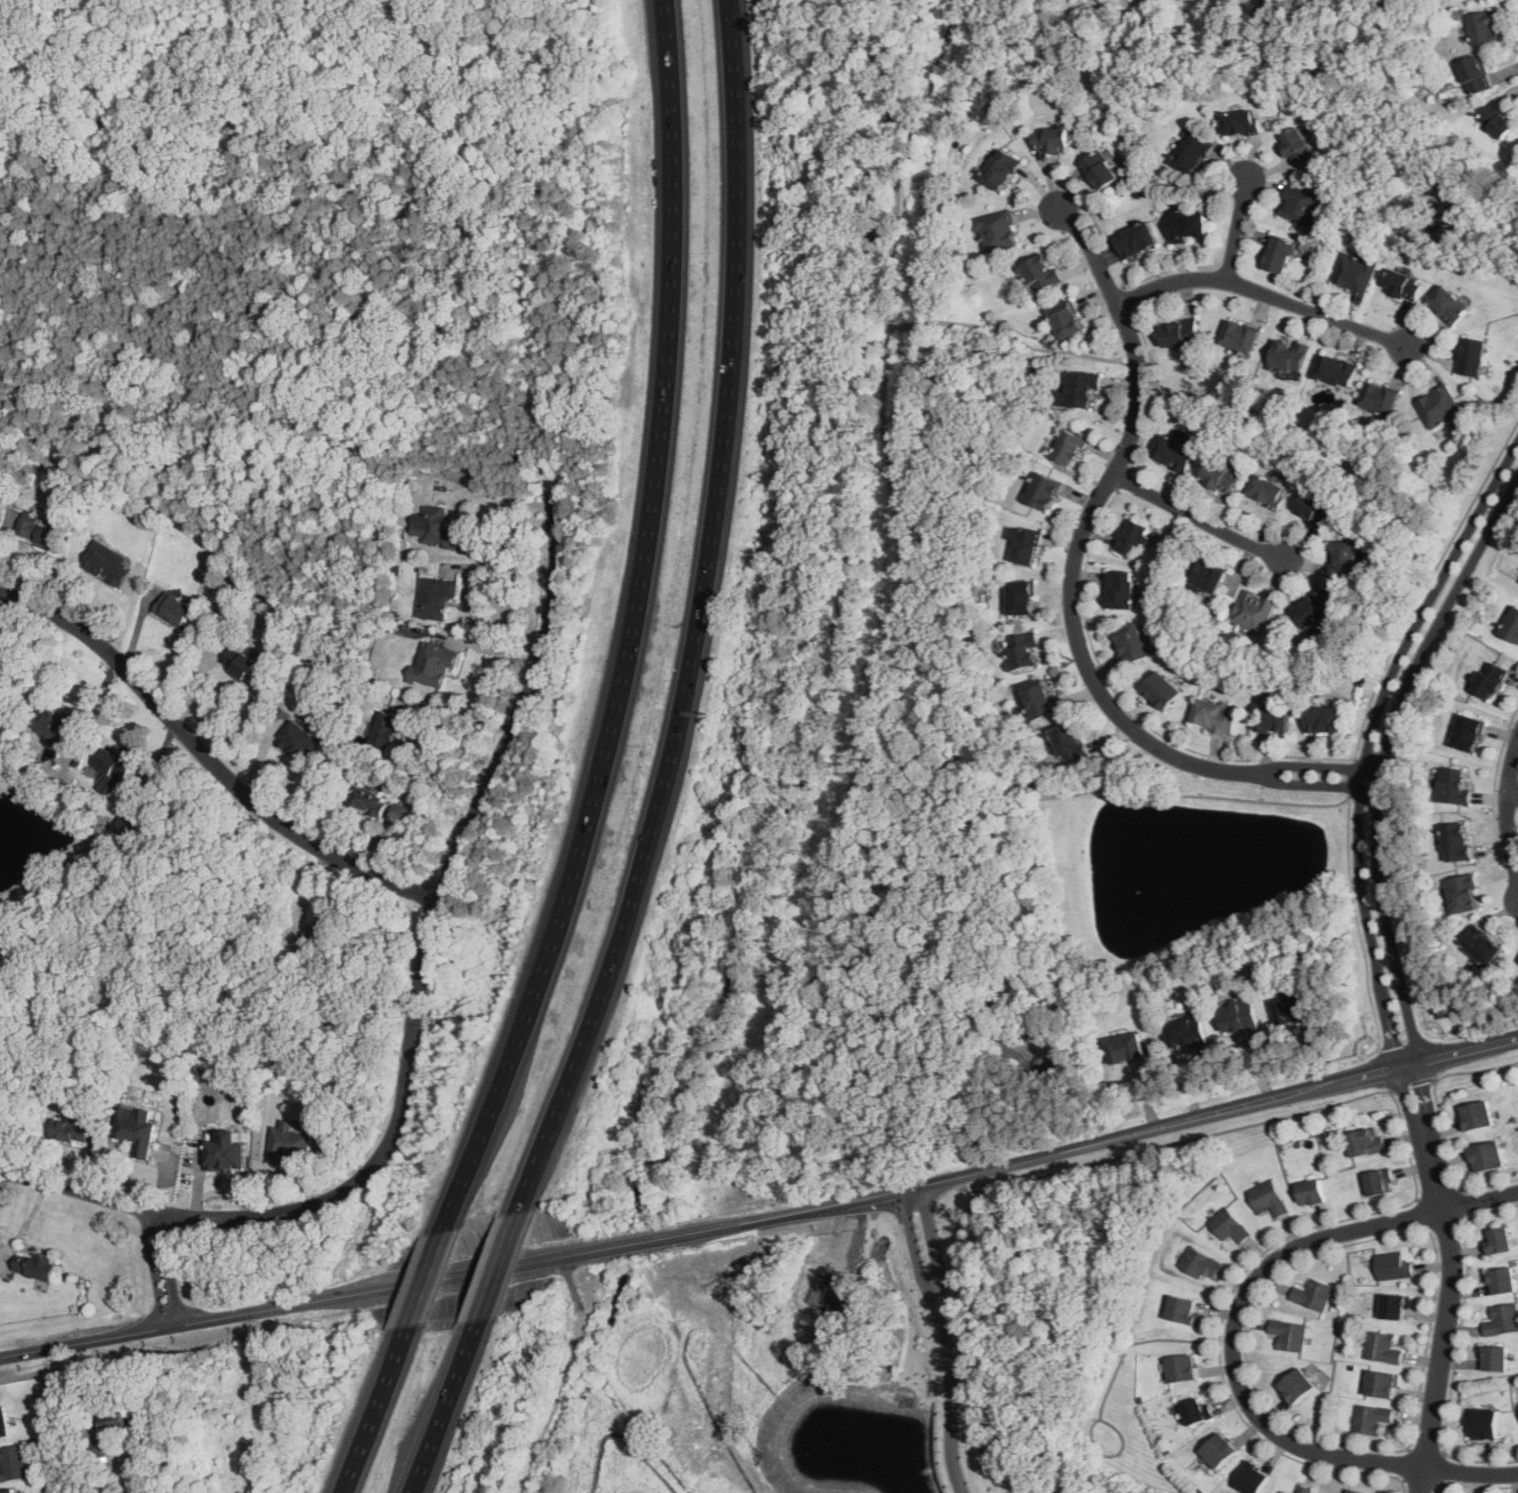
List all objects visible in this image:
building: (1485, 27)
building: (1474, 75)
building: (1497, 119)
building: (1239, 123)
building: (1051, 139)
building: (1296, 147)
building: (1192, 153)
building: (1000, 170)
building: (1099, 170)
building: (1303, 206)
building: (1186, 225)
building: (997, 231)
road: (1237, 231)
building: (1135, 240)
building: (1278, 254)
road: (1174, 268)
building: (1355, 273)
building: (1039, 274)
building: (1402, 285)
road: (1264, 295)
road: (1128, 300)
building: (1449, 305)
building: (1065, 320)
building: (1179, 333)
road: (1015, 337)
building: (1240, 337)
building: (1472, 357)
building: (1288, 358)
road: (1127, 365)
building: (1336, 370)
building: (1080, 390)
road: (1154, 393)
building: (1380, 399)
building: (1439, 408)
building: (1069, 446)
building: (1174, 453)
road: (460, 463)
building: (1219, 477)
road: (1122, 481)
building: (1042, 491)
building: (1267, 491)
road: (498, 496)
building: (1315, 510)
road: (1198, 519)
road: (1084, 528)
building: (438, 529)
building: (39, 533)
building: (1131, 536)
building: (1025, 546)
building: (1343, 561)
building: (107, 564)
road: (504, 567)
road: (918, 573)
building: (1205, 576)
road: (1423, 582)
building: (1120, 589)
building: (1021, 598)
building: (436, 599)
building: (1312, 608)
building: (174, 610)
building: (1254, 612)
road: (699, 619)
building: (1511, 626)
road: (632, 629)
building: (1131, 643)
road: (494, 649)
building: (1023, 651)
building: (238, 661)
building: (432, 665)
building: (1489, 680)
building: (1161, 691)
building: (1042, 701)
road: (1131, 708)
road: (460, 711)
building: (1215, 716)
building: (1271, 718)
building: (1324, 719)
building: (55, 725)
building: (387, 731)
building: (1466, 733)
building: (301, 740)
road: (1367, 740)
building: (1069, 743)
road: (210, 760)
road: (1314, 765)
building: (113, 771)
road: (1352, 777)
road: (1311, 784)
building: (1452, 787)
road: (1373, 794)
road: (1513, 794)
building: (369, 801)
road: (1509, 807)
building: (130, 826)
building: (1456, 843)
fountain: (1141, 891)
building: (1462, 894)
road: (1360, 923)
building: (324, 927)
building: (1481, 946)
road: (428, 947)
building: (1290, 1010)
building: (1237, 1018)
building: (1186, 1033)
building: (1125, 1049)
road: (1385, 1071)
road: (1477, 1073)
road: (1412, 1084)
road: (1407, 1104)
road: (1237, 1111)
building: (1475, 1116)
building: (137, 1129)
building: (70, 1131)
road: (1206, 1135)
building: (1365, 1141)
building: (289, 1142)
building: (225, 1151)
building: (1486, 1156)
road: (1451, 1163)
building: (1375, 1183)
building: (1311, 1192)
building: (1268, 1198)
road: (812, 1210)
road: (1464, 1216)
building: (1229, 1225)
building: (1498, 1240)
road: (631, 1245)
building: (1199, 1263)
building: (34, 1266)
building: (1393, 1266)
road: (499, 1268)
road: (162, 1270)
road: (425, 1280)
building: (1501, 1281)
road: (938, 1283)
power substation: (829, 1289)
building: (1313, 1295)
road: (297, 1305)
building: (1394, 1306)
building: (1183, 1310)
road: (1447, 1312)
building: (1502, 1319)
building: (1289, 1334)
road: (1142, 1341)
road: (1233, 1343)
road: (1457, 1346)
building: (1382, 1348)
road: (933, 1351)
building: (1493, 1359)
building: (1183, 1368)
building: (1382, 1384)
building: (1297, 1386)
road: (960, 1388)
road: (445, 1408)
road: (375, 1411)
building: (1197, 1412)
building: (1371, 1419)
building: (3, 1422)
building: (112, 1423)
building: (1484, 1424)
road: (1295, 1431)
building: (1220, 1451)
road: (1282, 1452)
road: (1113, 1455)
building: (13, 1463)
building: (1254, 1479)
road: (1433, 1484)
road: (1475, 1486)
building: (1304, 1489)
building: (7, 1491)
building: (1355, 1491)
building: (1283, 1492)

